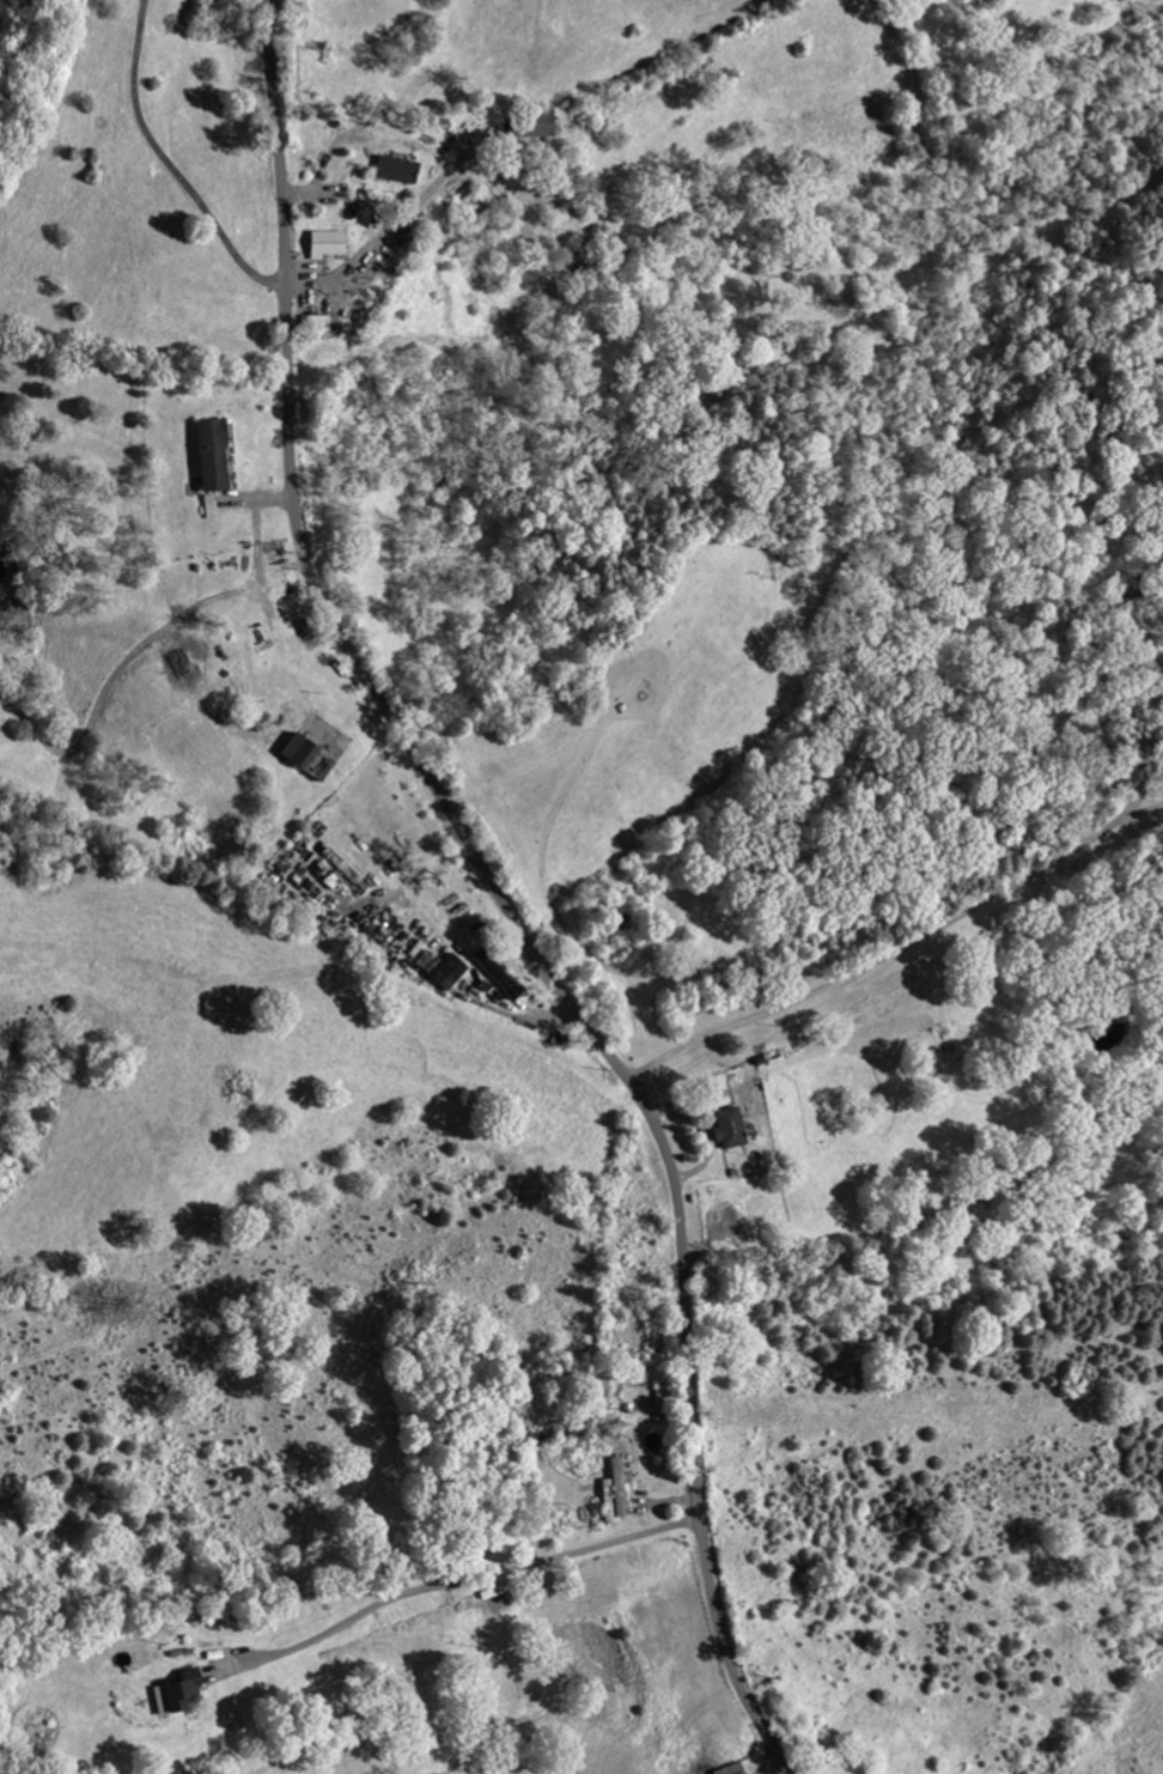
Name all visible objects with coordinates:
building: (589, 103)
building: (451, 148)
road: (170, 163)
building: (382, 224)
road: (383, 231)
building: (269, 433)
building: (358, 729)
road: (504, 894)
road: (920, 941)
building: (786, 1106)
building: (670, 1471)
road: (463, 1576)
building: (792, 1758)

